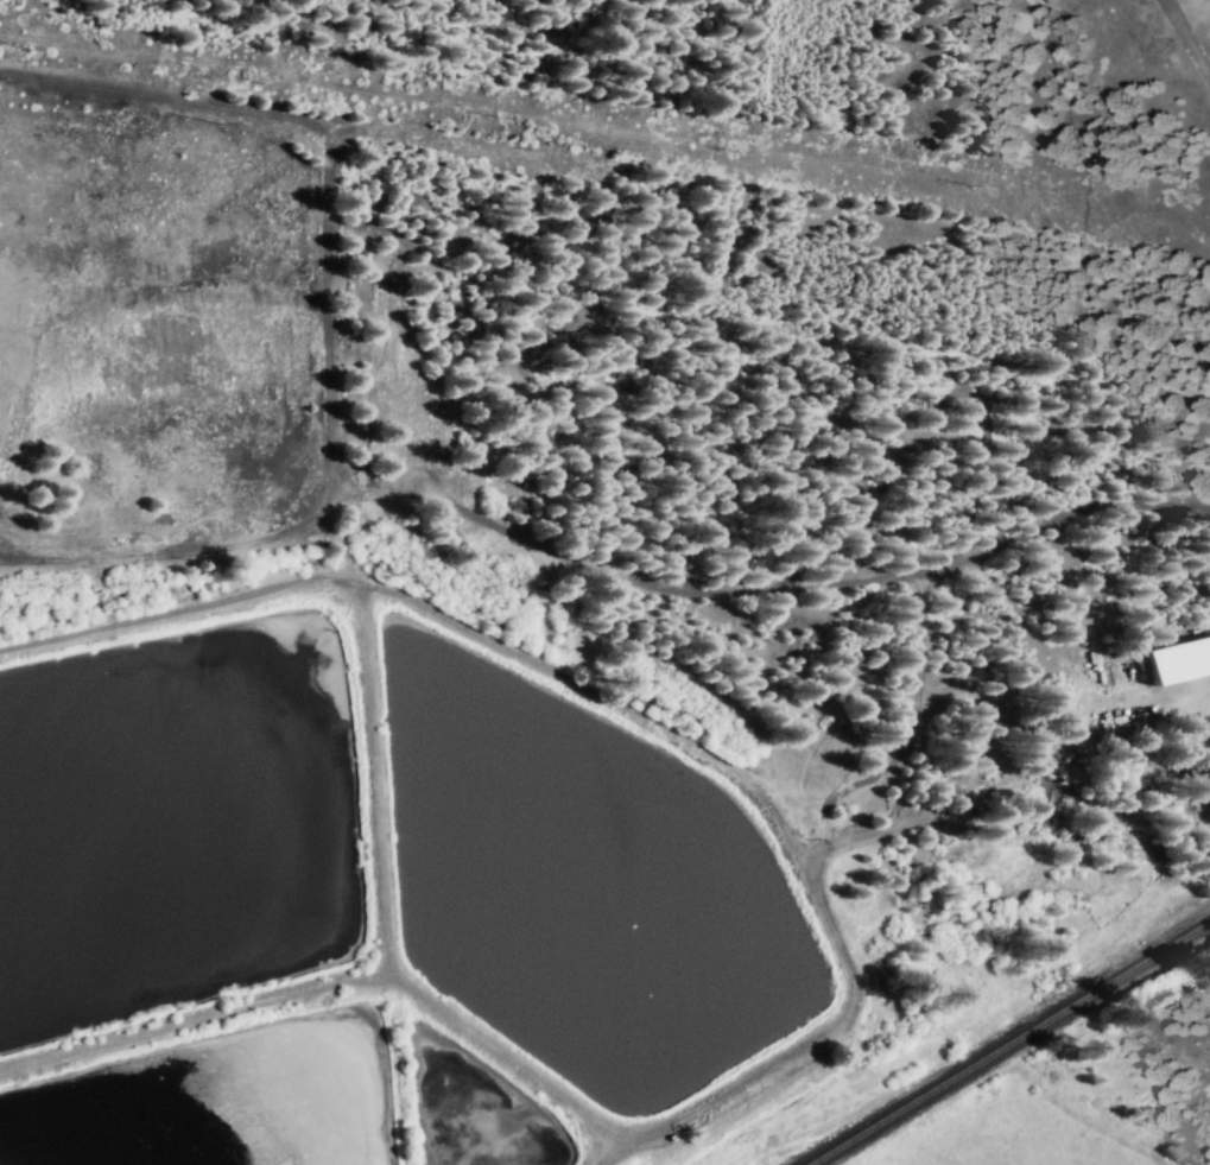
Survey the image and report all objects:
road: (1191, 31)
road: (591, 564)
building: (1179, 659)
wastewater plant: (164, 838)
wastewater plant: (583, 892)
railway: (1011, 1043)
wastewater plant: (280, 1108)

